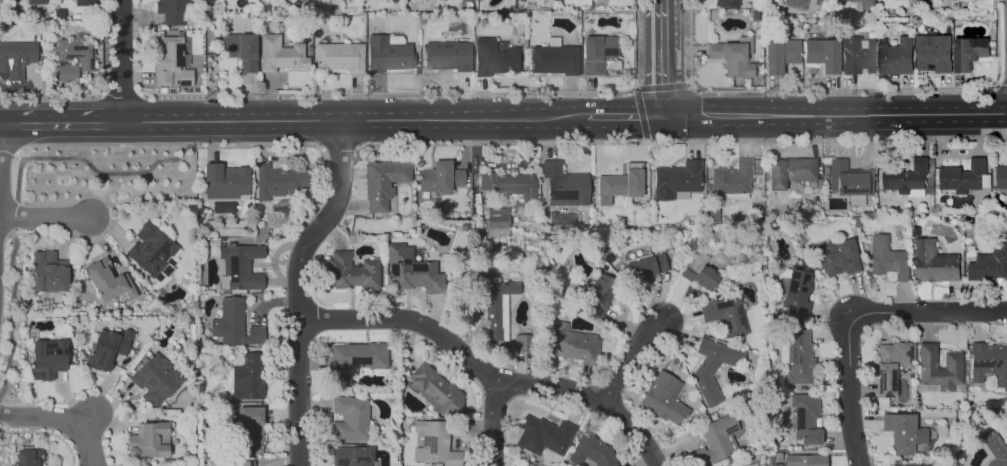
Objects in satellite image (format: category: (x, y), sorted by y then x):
building: (308, 0)
building: (36, 1)
building: (302, 1)
building: (83, 2)
building: (819, 2)
building: (727, 3)
building: (862, 3)
building: (173, 11)
building: (769, 13)
building: (756, 15)
building: (922, 26)
building: (746, 43)
building: (242, 50)
building: (76, 51)
road: (685, 51)
building: (972, 52)
building: (388, 53)
building: (936, 53)
building: (281, 54)
building: (599, 54)
building: (822, 54)
building: (780, 55)
building: (859, 55)
building: (448, 56)
building: (16, 57)
building: (341, 57)
road: (663, 57)
building: (898, 57)
building: (495, 58)
building: (555, 58)
building: (732, 58)
road: (120, 61)
building: (172, 61)
building: (66, 71)
building: (757, 72)
road: (1001, 83)
road: (841, 90)
road: (387, 92)
road: (965, 92)
road: (944, 93)
road: (829, 94)
road: (849, 94)
road: (904, 94)
road: (773, 95)
road: (835, 115)
road: (624, 116)
traffic signals: (663, 116)
road: (354, 122)
road: (61, 123)
road: (8, 150)
building: (550, 169)
building: (790, 171)
road: (111, 173)
building: (907, 176)
building: (964, 176)
building: (440, 177)
building: (1002, 177)
building: (730, 178)
building: (850, 179)
building: (674, 180)
building: (225, 181)
building: (279, 181)
building: (382, 181)
building: (510, 184)
building: (624, 184)
building: (542, 187)
building: (568, 189)
road: (45, 218)
building: (151, 249)
building: (837, 257)
building: (888, 258)
building: (936, 263)
building: (990, 263)
building: (241, 266)
building: (644, 267)
building: (411, 270)
building: (48, 271)
building: (351, 271)
building: (701, 276)
building: (109, 280)
road: (298, 288)
building: (796, 292)
building: (598, 295)
building: (494, 304)
building: (725, 316)
road: (856, 317)
building: (234, 325)
building: (523, 343)
building: (573, 344)
road: (455, 347)
building: (107, 349)
road: (630, 352)
building: (360, 356)
building: (47, 358)
building: (798, 359)
building: (989, 363)
building: (890, 366)
building: (713, 368)
building: (938, 368)
building: (247, 376)
building: (155, 380)
building: (436, 391)
building: (663, 398)
building: (350, 418)
building: (805, 418)
road: (60, 420)
road: (88, 423)
road: (494, 423)
building: (250, 429)
road: (633, 430)
building: (903, 432)
building: (544, 435)
building: (147, 441)
building: (712, 441)
building: (435, 443)
building: (995, 451)
building: (591, 452)
building: (352, 456)
building: (28, 457)
building: (805, 460)
building: (246, 463)
building: (620, 465)
building: (737, 465)
building: (908, 465)

